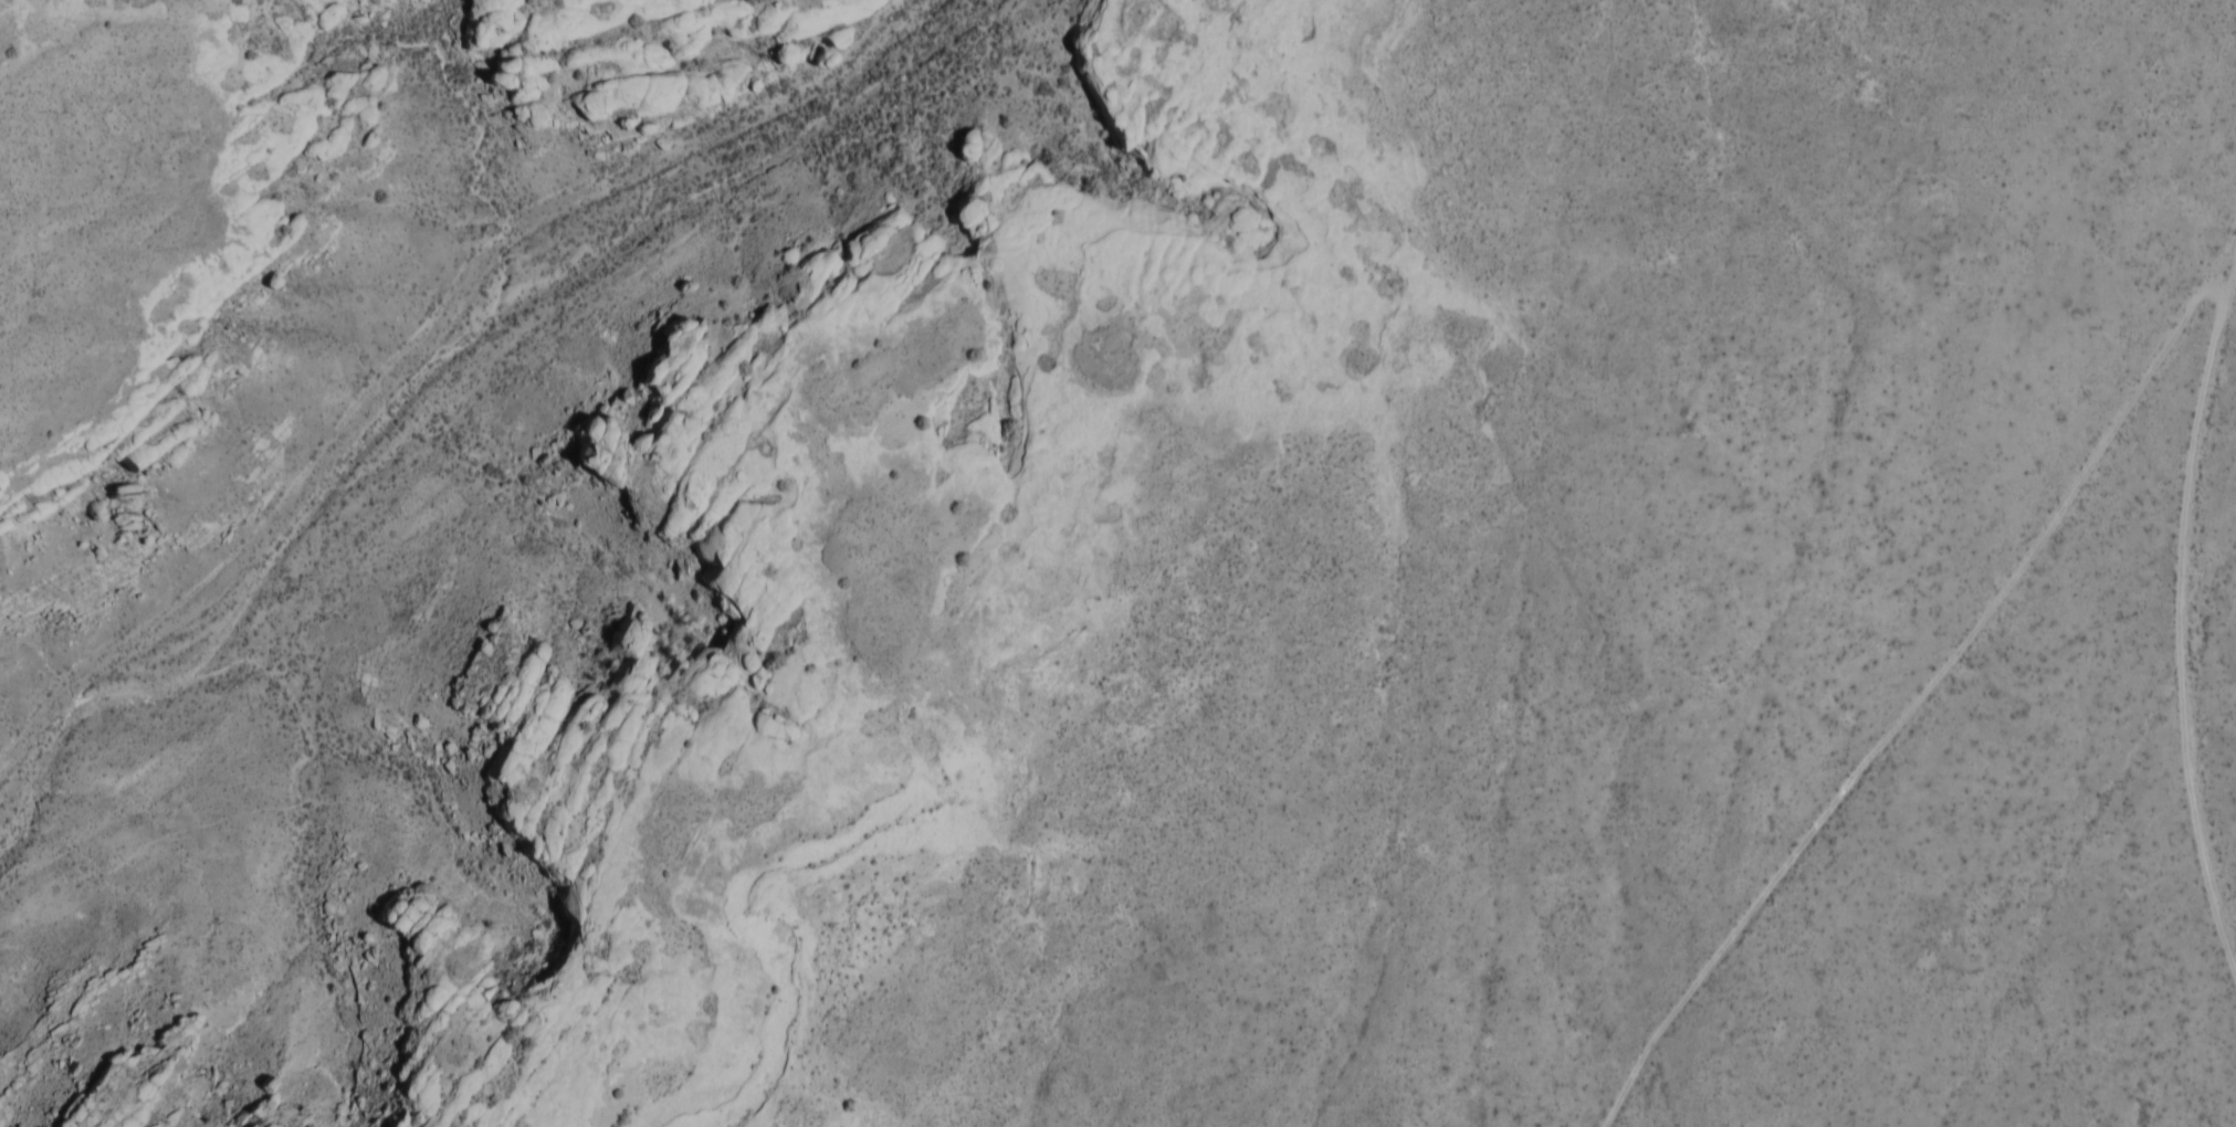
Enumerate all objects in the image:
road: (1603, 92)
road: (431, 343)
road: (2190, 589)
road: (1930, 704)

